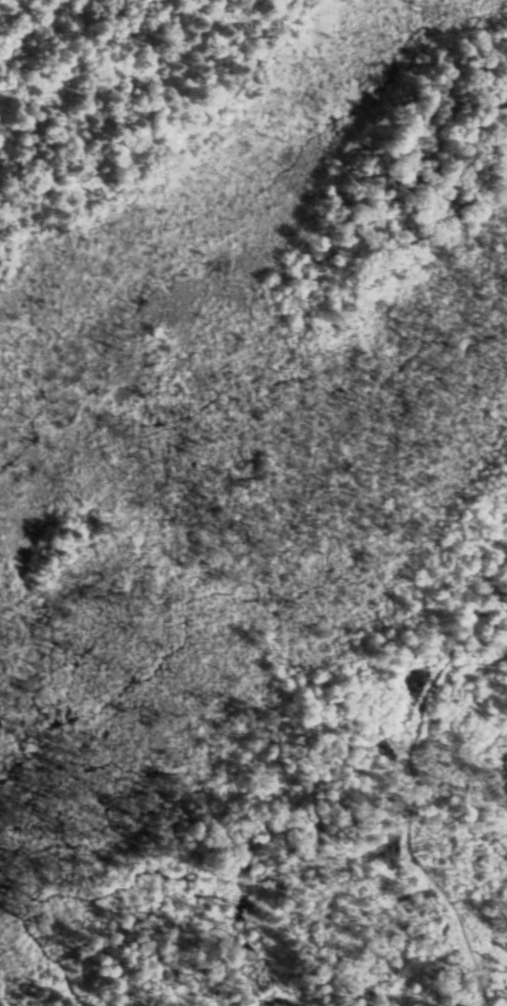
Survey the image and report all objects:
park: (258, 961)

